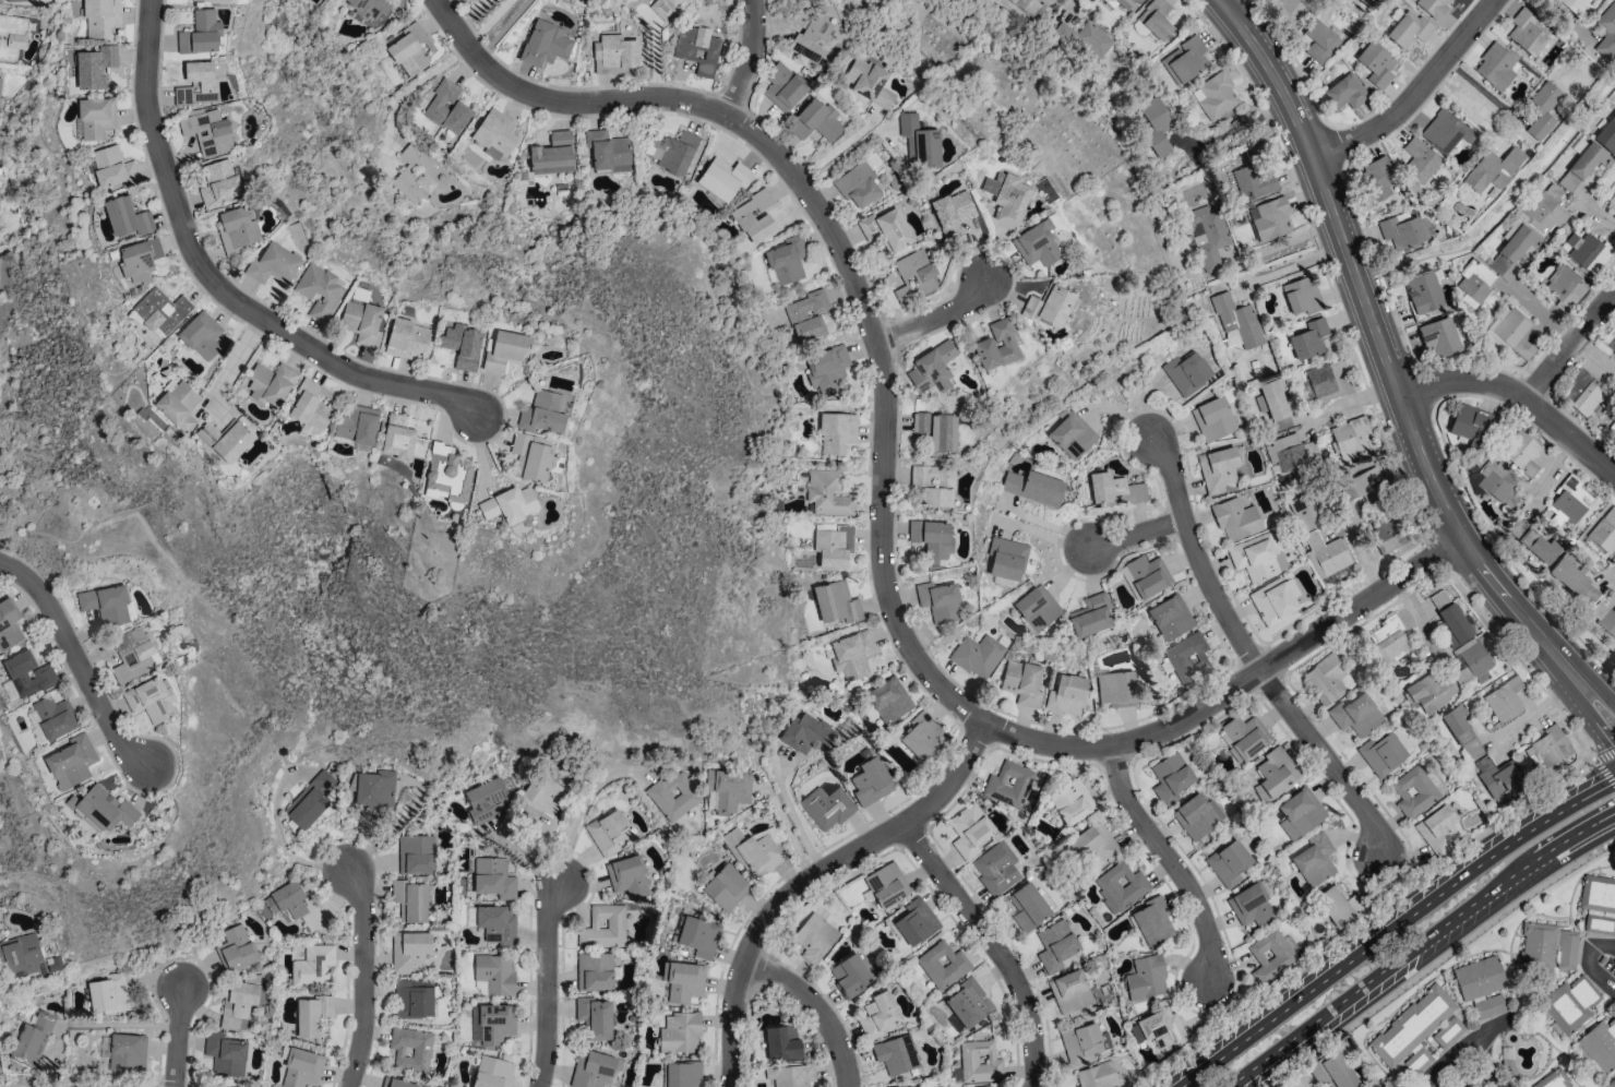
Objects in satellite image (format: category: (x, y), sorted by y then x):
building: (201, 0)
building: (494, 0)
building: (14, 1)
building: (1126, 4)
building: (1574, 4)
building: (1433, 7)
building: (367, 8)
building: (663, 8)
building: (1031, 8)
building: (100, 17)
building: (1156, 19)
road: (504, 26)
building: (1408, 29)
building: (1606, 31)
building: (1526, 33)
building: (200, 34)
building: (809, 35)
building: (11, 36)
building: (1085, 40)
building: (1319, 41)
building: (545, 44)
building: (410, 49)
building: (697, 49)
building: (614, 55)
road: (747, 59)
building: (1184, 60)
building: (1376, 64)
building: (94, 67)
building: (1495, 67)
building: (0, 80)
road: (415, 80)
building: (868, 82)
building: (206, 84)
building: (783, 86)
building: (1347, 91)
road: (1414, 93)
building: (1215, 96)
building: (446, 108)
building: (1542, 109)
building: (96, 118)
building: (815, 120)
building: (1155, 126)
building: (207, 131)
building: (1445, 131)
building: (494, 134)
building: (1607, 138)
building: (919, 142)
building: (671, 151)
building: (607, 152)
building: (552, 154)
building: (1420, 159)
building: (1588, 160)
building: (111, 167)
building: (1493, 169)
building: (415, 174)
building: (1379, 177)
building: (723, 178)
building: (1254, 182)
building: (217, 183)
building: (857, 184)
building: (1006, 196)
building: (1611, 204)
building: (1545, 208)
building: (952, 211)
road: (1506, 213)
road: (1599, 214)
building: (742, 216)
building: (125, 217)
building: (1269, 219)
building: (238, 228)
building: (886, 229)
building: (1401, 231)
building: (1207, 236)
building: (1037, 244)
building: (1582, 248)
building: (1512, 249)
building: (139, 260)
building: (786, 261)
building: (274, 264)
road: (1293, 266)
building: (913, 276)
road: (222, 285)
building: (1563, 286)
building: (319, 290)
building: (1423, 292)
building: (1302, 296)
building: (1049, 306)
building: (157, 312)
building: (805, 316)
road: (936, 316)
building: (361, 319)
building: (1237, 320)
building: (1510, 333)
building: (201, 335)
building: (1439, 336)
building: (406, 338)
building: (1231, 338)
building: (1308, 338)
building: (460, 345)
road: (1569, 347)
building: (505, 350)
building: (1612, 350)
road: (1381, 353)
road: (223, 367)
building: (827, 369)
building: (931, 369)
building: (1186, 373)
building: (271, 383)
building: (1583, 394)
road: (1519, 395)
road: (1353, 398)
building: (1276, 403)
building: (178, 405)
building: (311, 408)
building: (542, 413)
building: (397, 419)
building: (1212, 419)
building: (357, 425)
building: (1471, 425)
building: (1614, 428)
building: (937, 430)
building: (837, 432)
building: (1072, 435)
building: (1347, 438)
building: (225, 440)
building: (400, 443)
building: (1290, 451)
building: (1520, 453)
building: (530, 457)
building: (1217, 468)
building: (1498, 483)
building: (933, 485)
building: (1033, 488)
building: (1114, 489)
building: (827, 493)
building: (1569, 501)
building: (509, 505)
building: (1308, 507)
road: (881, 515)
building: (1235, 519)
building: (1604, 530)
road: (1136, 534)
building: (931, 539)
building: (1532, 546)
building: (834, 547)
building: (1328, 553)
building: (1257, 557)
building: (1006, 558)
road: (1505, 558)
building: (1147, 575)
building: (1567, 577)
building: (1275, 600)
building: (938, 601)
building: (836, 602)
building: (105, 604)
building: (1037, 608)
building: (1090, 616)
building: (1170, 617)
building: (1604, 618)
building: (9, 624)
building: (1387, 638)
road: (1248, 653)
building: (132, 654)
building: (851, 655)
building: (977, 656)
building: (1187, 657)
road: (76, 660)
building: (1475, 661)
building: (26, 673)
building: (1328, 679)
building: (1021, 682)
building: (1115, 688)
road: (1600, 689)
building: (1428, 690)
building: (1067, 695)
building: (1504, 698)
building: (149, 700)
building: (888, 700)
building: (1355, 715)
building: (53, 717)
road: (1591, 719)
building: (1458, 731)
building: (806, 733)
building: (921, 737)
building: (1243, 737)
building: (1400, 739)
building: (1548, 749)
building: (1381, 753)
road: (1604, 754)
building: (71, 762)
building: (1276, 771)
road: (1604, 772)
building: (1496, 777)
building: (1170, 778)
building: (870, 781)
building: (1008, 785)
building: (374, 789)
building: (728, 789)
building: (1413, 791)
building: (543, 793)
building: (1259, 793)
building: (673, 795)
building: (484, 799)
building: (310, 800)
building: (1070, 801)
road: (584, 805)
building: (826, 805)
building: (101, 809)
building: (1300, 813)
building: (1197, 816)
road: (794, 820)
road: (785, 825)
building: (969, 831)
building: (1437, 831)
building: (607, 832)
building: (1093, 846)
road: (1459, 850)
building: (756, 851)
building: (416, 855)
building: (1314, 859)
road: (1171, 860)
building: (1229, 863)
building: (995, 868)
road: (811, 875)
building: (627, 876)
building: (493, 879)
building: (886, 885)
building: (1120, 886)
building: (726, 887)
road: (1570, 896)
building: (410, 900)
building: (295, 904)
building: (1598, 904)
building: (1251, 905)
building: (1339, 905)
building: (1028, 907)
road: (1528, 915)
building: (1151, 921)
building: (916, 922)
building: (493, 923)
building: (603, 927)
road: (1393, 927)
building: (699, 936)
building: (814, 937)
road: (1614, 941)
road: (993, 944)
building: (1055, 945)
road: (1420, 945)
building: (1546, 947)
building: (235, 948)
building: (409, 951)
building: (21, 954)
building: (1271, 955)
road: (1438, 959)
road: (1589, 963)
building: (942, 965)
building: (313, 967)
building: (594, 971)
road: (1437, 973)
road: (363, 975)
building: (493, 975)
building: (850, 975)
building: (1146, 978)
road: (548, 980)
building: (683, 981)
building: (1482, 984)
building: (1069, 991)
building: (108, 994)
building: (414, 999)
building: (1570, 1003)
building: (238, 1004)
building: (967, 1005)
road: (817, 1006)
building: (312, 1015)
building: (877, 1015)
building: (595, 1017)
building: (495, 1023)
road: (1492, 1026)
building: (1159, 1029)
road: (176, 1032)
building: (679, 1032)
building: (1416, 1032)
road: (1518, 1035)
road: (1572, 1037)
road: (1544, 1038)
building: (32, 1039)
building: (781, 1042)
building: (1082, 1042)
road: (1516, 1043)
building: (1601, 1043)
road: (1466, 1044)
building: (410, 1049)
building: (127, 1053)
road: (1550, 1053)
building: (225, 1054)
building: (896, 1054)
building: (979, 1062)
building: (301, 1068)
road: (1519, 1070)
building: (492, 1072)
building: (1333, 1072)
building: (682, 1074)
building: (790, 1075)
building: (1097, 1075)
road: (1538, 1075)
building: (1553, 1079)
road: (1607, 1079)
building: (396, 1083)
building: (1612, 1083)
road: (1491, 1086)

